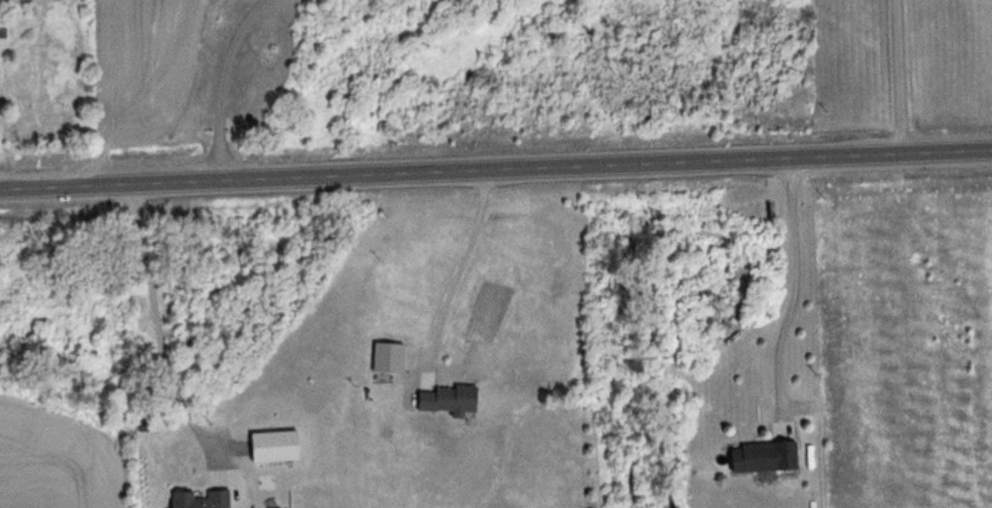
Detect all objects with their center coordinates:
building: (4, 29)
road: (496, 168)
building: (453, 401)
building: (766, 457)

